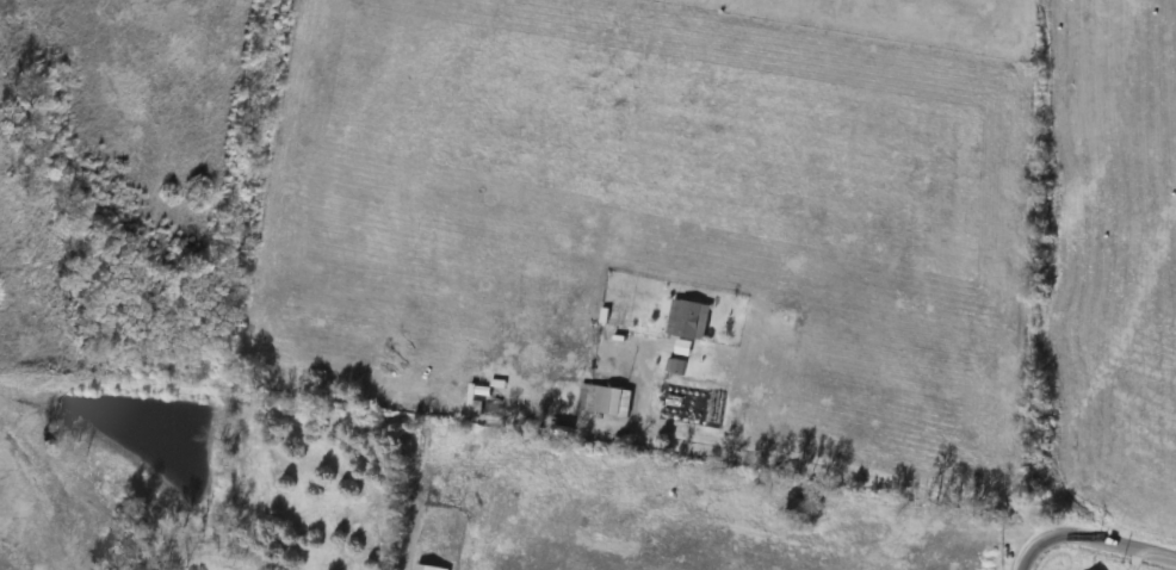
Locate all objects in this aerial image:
building: (689, 320)
building: (614, 401)
road: (815, 458)
road: (1088, 537)

